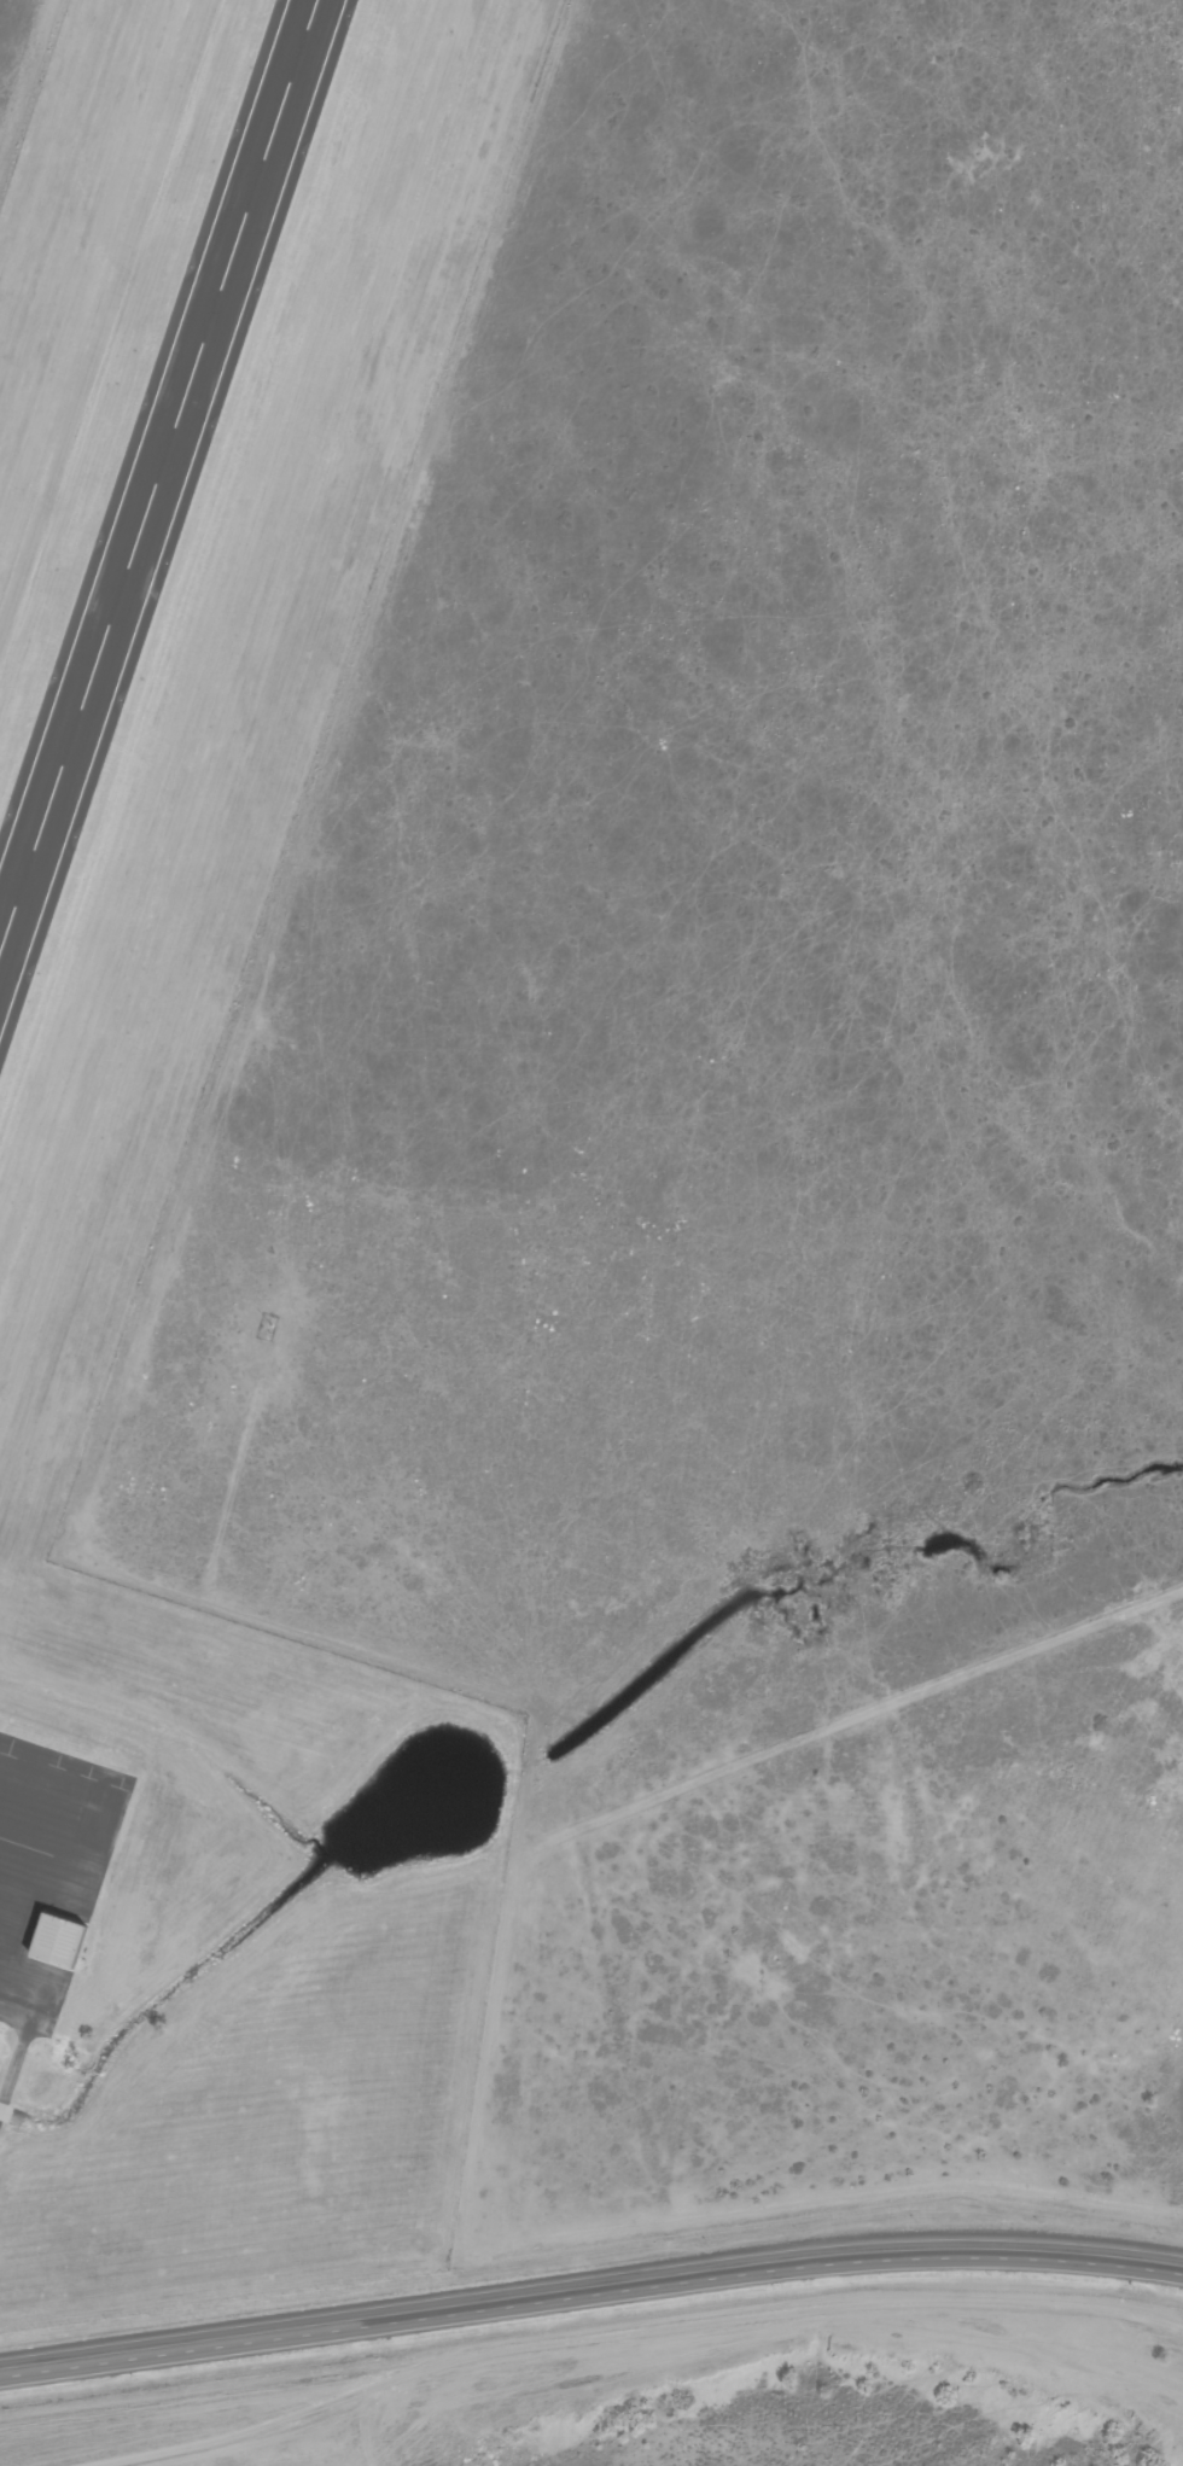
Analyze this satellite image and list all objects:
airport runway: (157, 472)
airport: (141, 856)
airport apron: (49, 1873)
building: (58, 1942)
road: (19, 2044)
road: (489, 2053)
road: (590, 2296)
road: (770, 2315)
river: (808, 2356)
road: (369, 2429)
road: (232, 2437)

